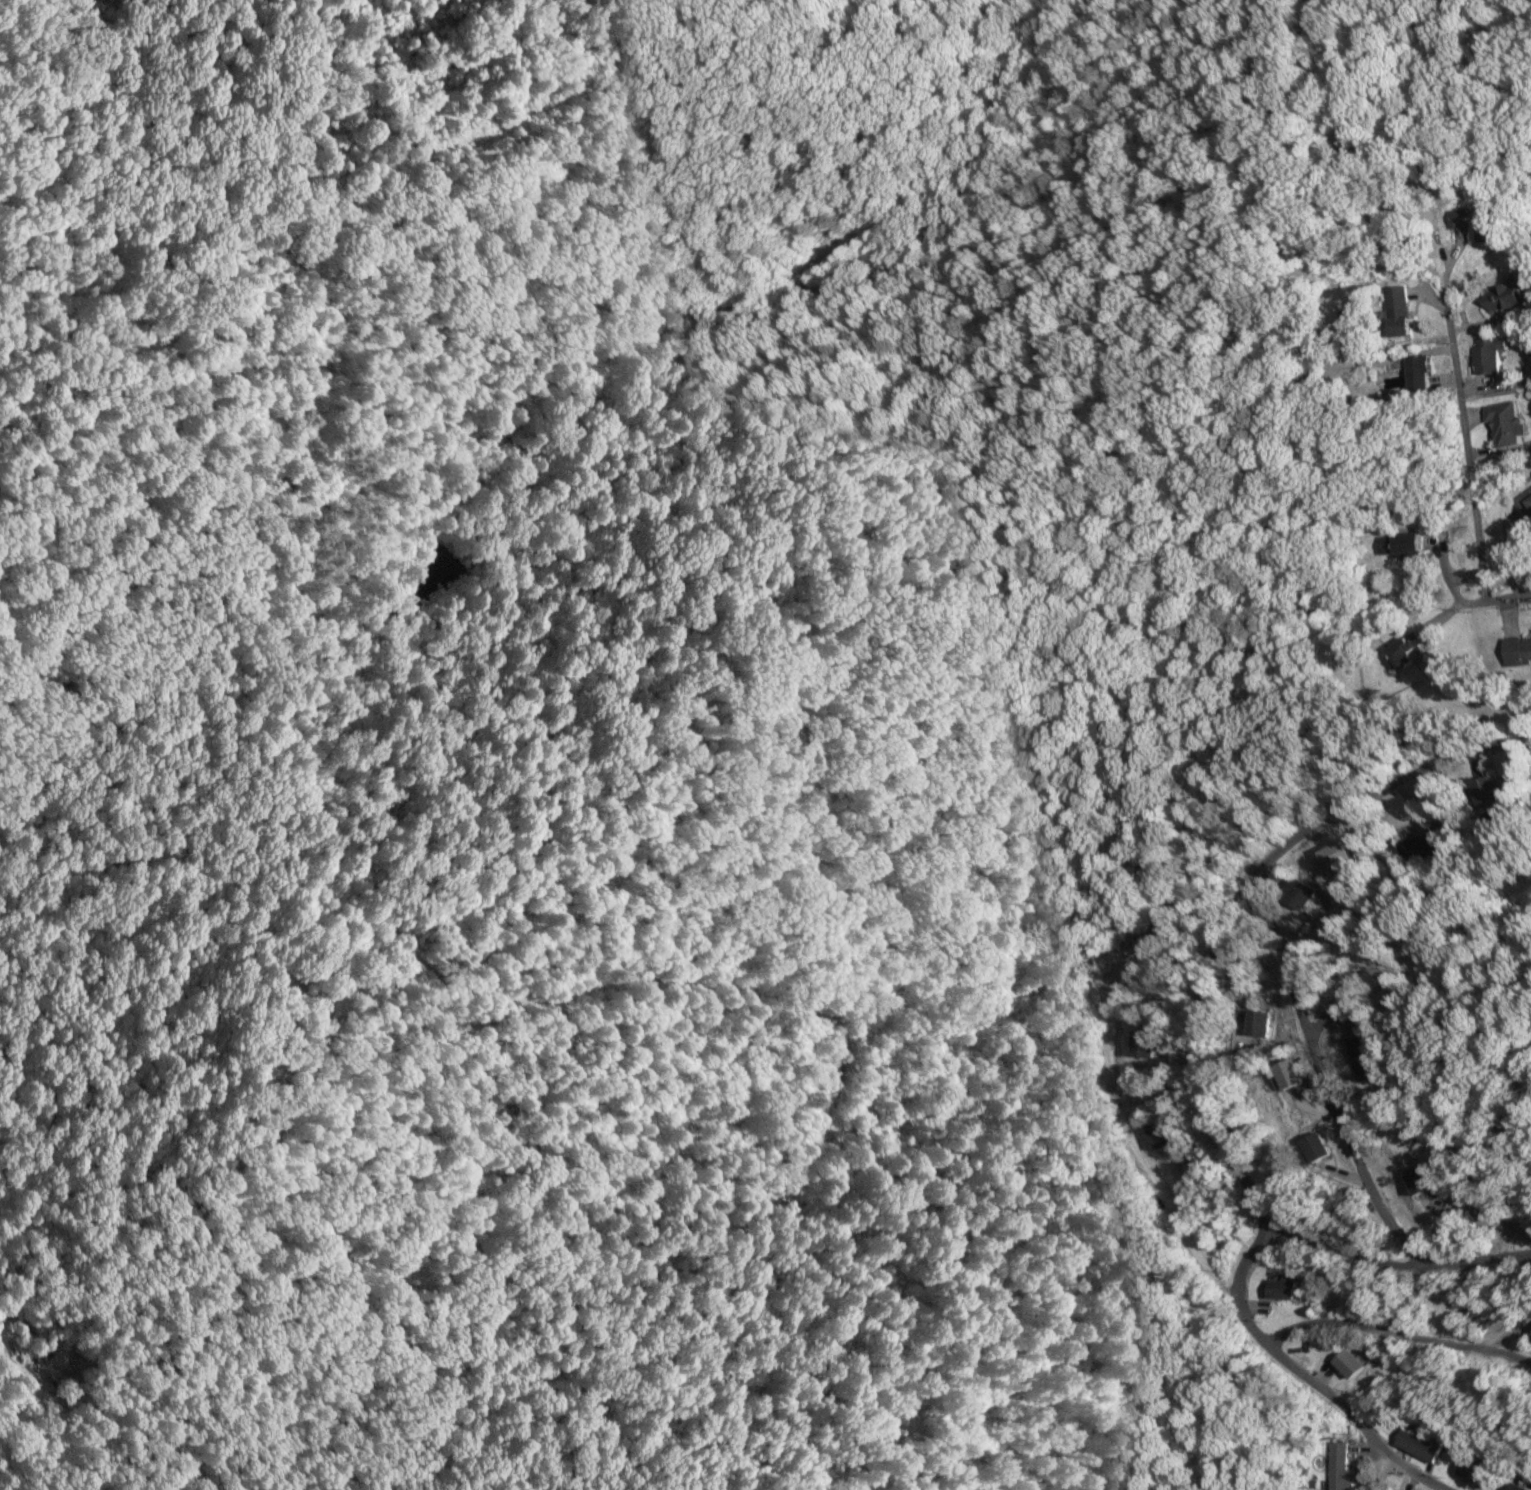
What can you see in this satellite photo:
building: (1500, 300)
building: (1396, 311)
building: (1487, 355)
building: (1416, 370)
building: (1504, 424)
road: (1465, 453)
building: (1525, 504)
building: (1400, 544)
road: (1483, 595)
road: (1507, 595)
building: (1516, 650)
building: (1403, 651)
building: (1490, 791)
building: (1424, 847)
building: (1334, 854)
building: (1300, 893)
road: (1248, 923)
building: (1151, 946)
road: (1345, 993)
building: (1382, 993)
building: (1255, 1022)
building: (1142, 1044)
building: (1357, 1055)
building: (1285, 1072)
road: (1322, 1073)
road: (1189, 1076)
building: (1159, 1134)
building: (1313, 1146)
road: (1135, 1154)
building: (1416, 1180)
road: (1393, 1260)
building: (1281, 1287)
road: (1232, 1301)
road: (1395, 1328)
building: (1530, 1336)
building: (1346, 1363)
building: (1419, 1443)
building: (1340, 1467)
road: (1375, 1470)
building: (1472, 1470)
building: (1516, 1487)
building: (1400, 1489)

